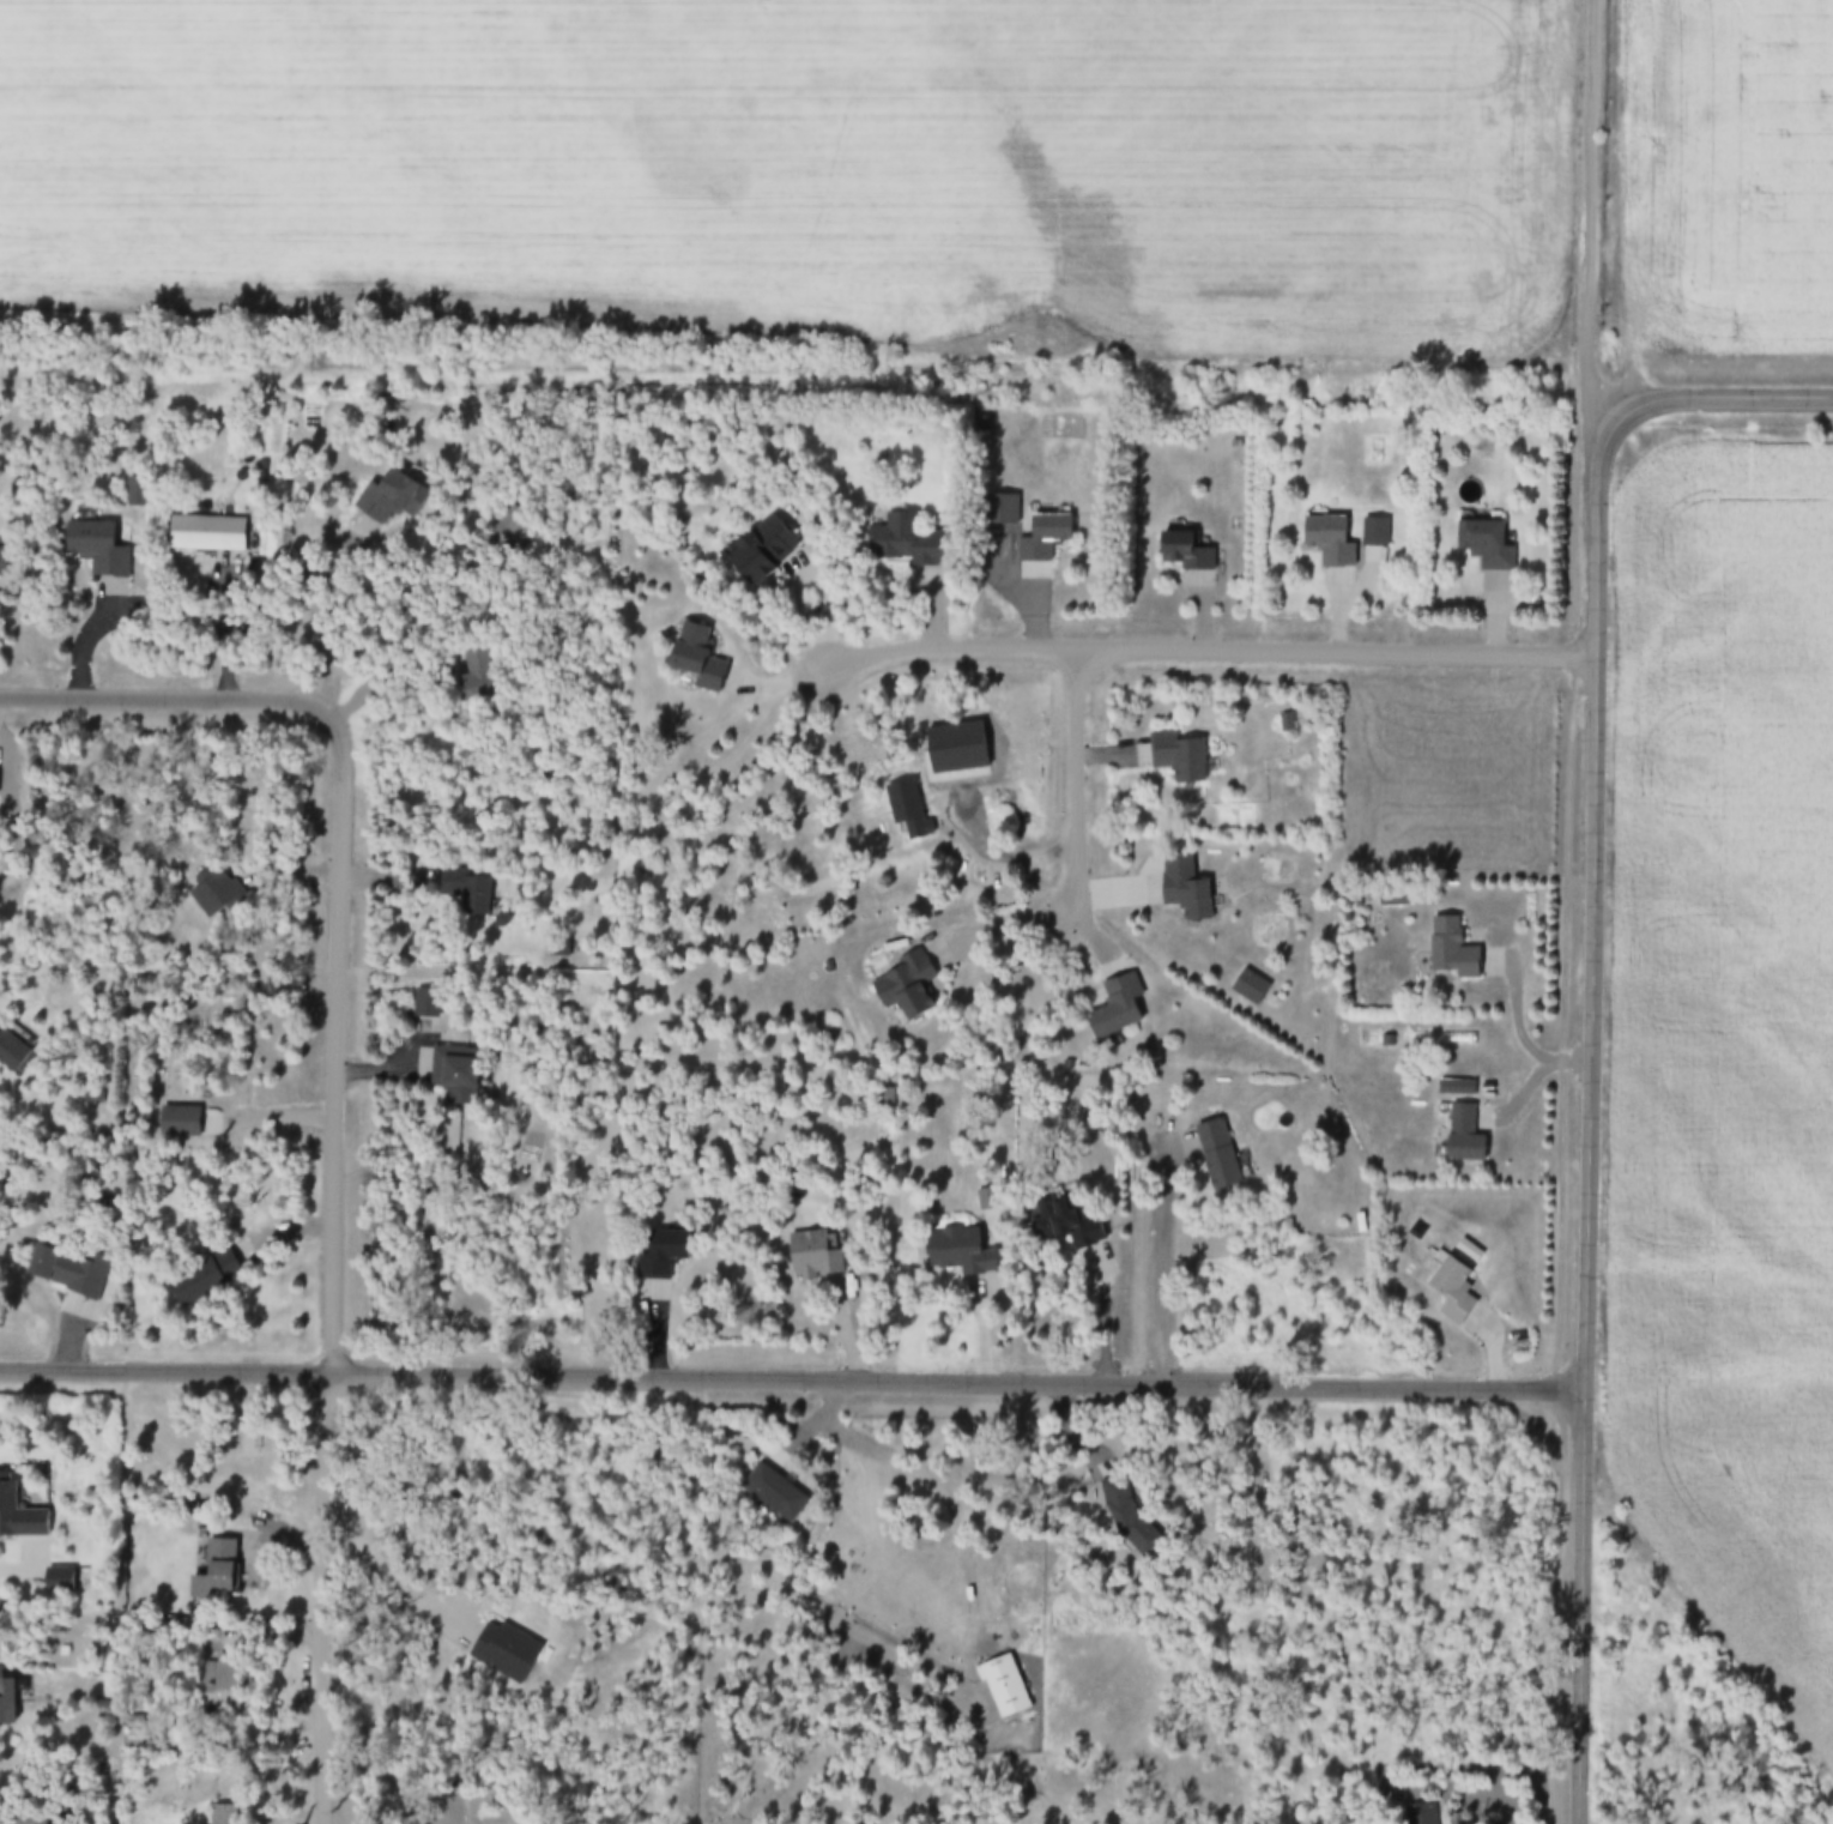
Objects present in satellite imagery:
road: (1622, 205)
road: (1590, 228)
road: (791, 304)
building: (135, 494)
building: (393, 501)
building: (1000, 512)
building: (512, 527)
building: (1374, 533)
building: (206, 536)
building: (1045, 539)
building: (1330, 543)
building: (909, 544)
building: (1487, 546)
building: (97, 550)
building: (769, 555)
building: (1185, 555)
building: (4, 566)
road: (1214, 652)
building: (698, 659)
building: (474, 678)
road: (110, 699)
building: (1287, 725)
building: (952, 760)
building: (1179, 760)
road: (1076, 785)
building: (907, 813)
building: (467, 894)
building: (217, 895)
building: (1187, 899)
building: (1393, 899)
building: (1452, 952)
road: (335, 989)
building: (1250, 990)
building: (906, 991)
building: (1117, 1010)
road: (1590, 1010)
building: (12, 1055)
building: (453, 1071)
building: (180, 1125)
building: (1465, 1137)
building: (1218, 1158)
building: (986, 1202)
building: (1065, 1226)
building: (960, 1255)
building: (663, 1257)
building: (815, 1257)
building: (67, 1274)
building: (205, 1281)
building: (1454, 1293)
road: (791, 1383)
building: (254, 1445)
building: (774, 1496)
building: (18, 1516)
building: (218, 1572)
road: (325, 1600)
building: (222, 1686)
building: (1004, 1690)
building: (6, 1705)
building: (223, 1816)

